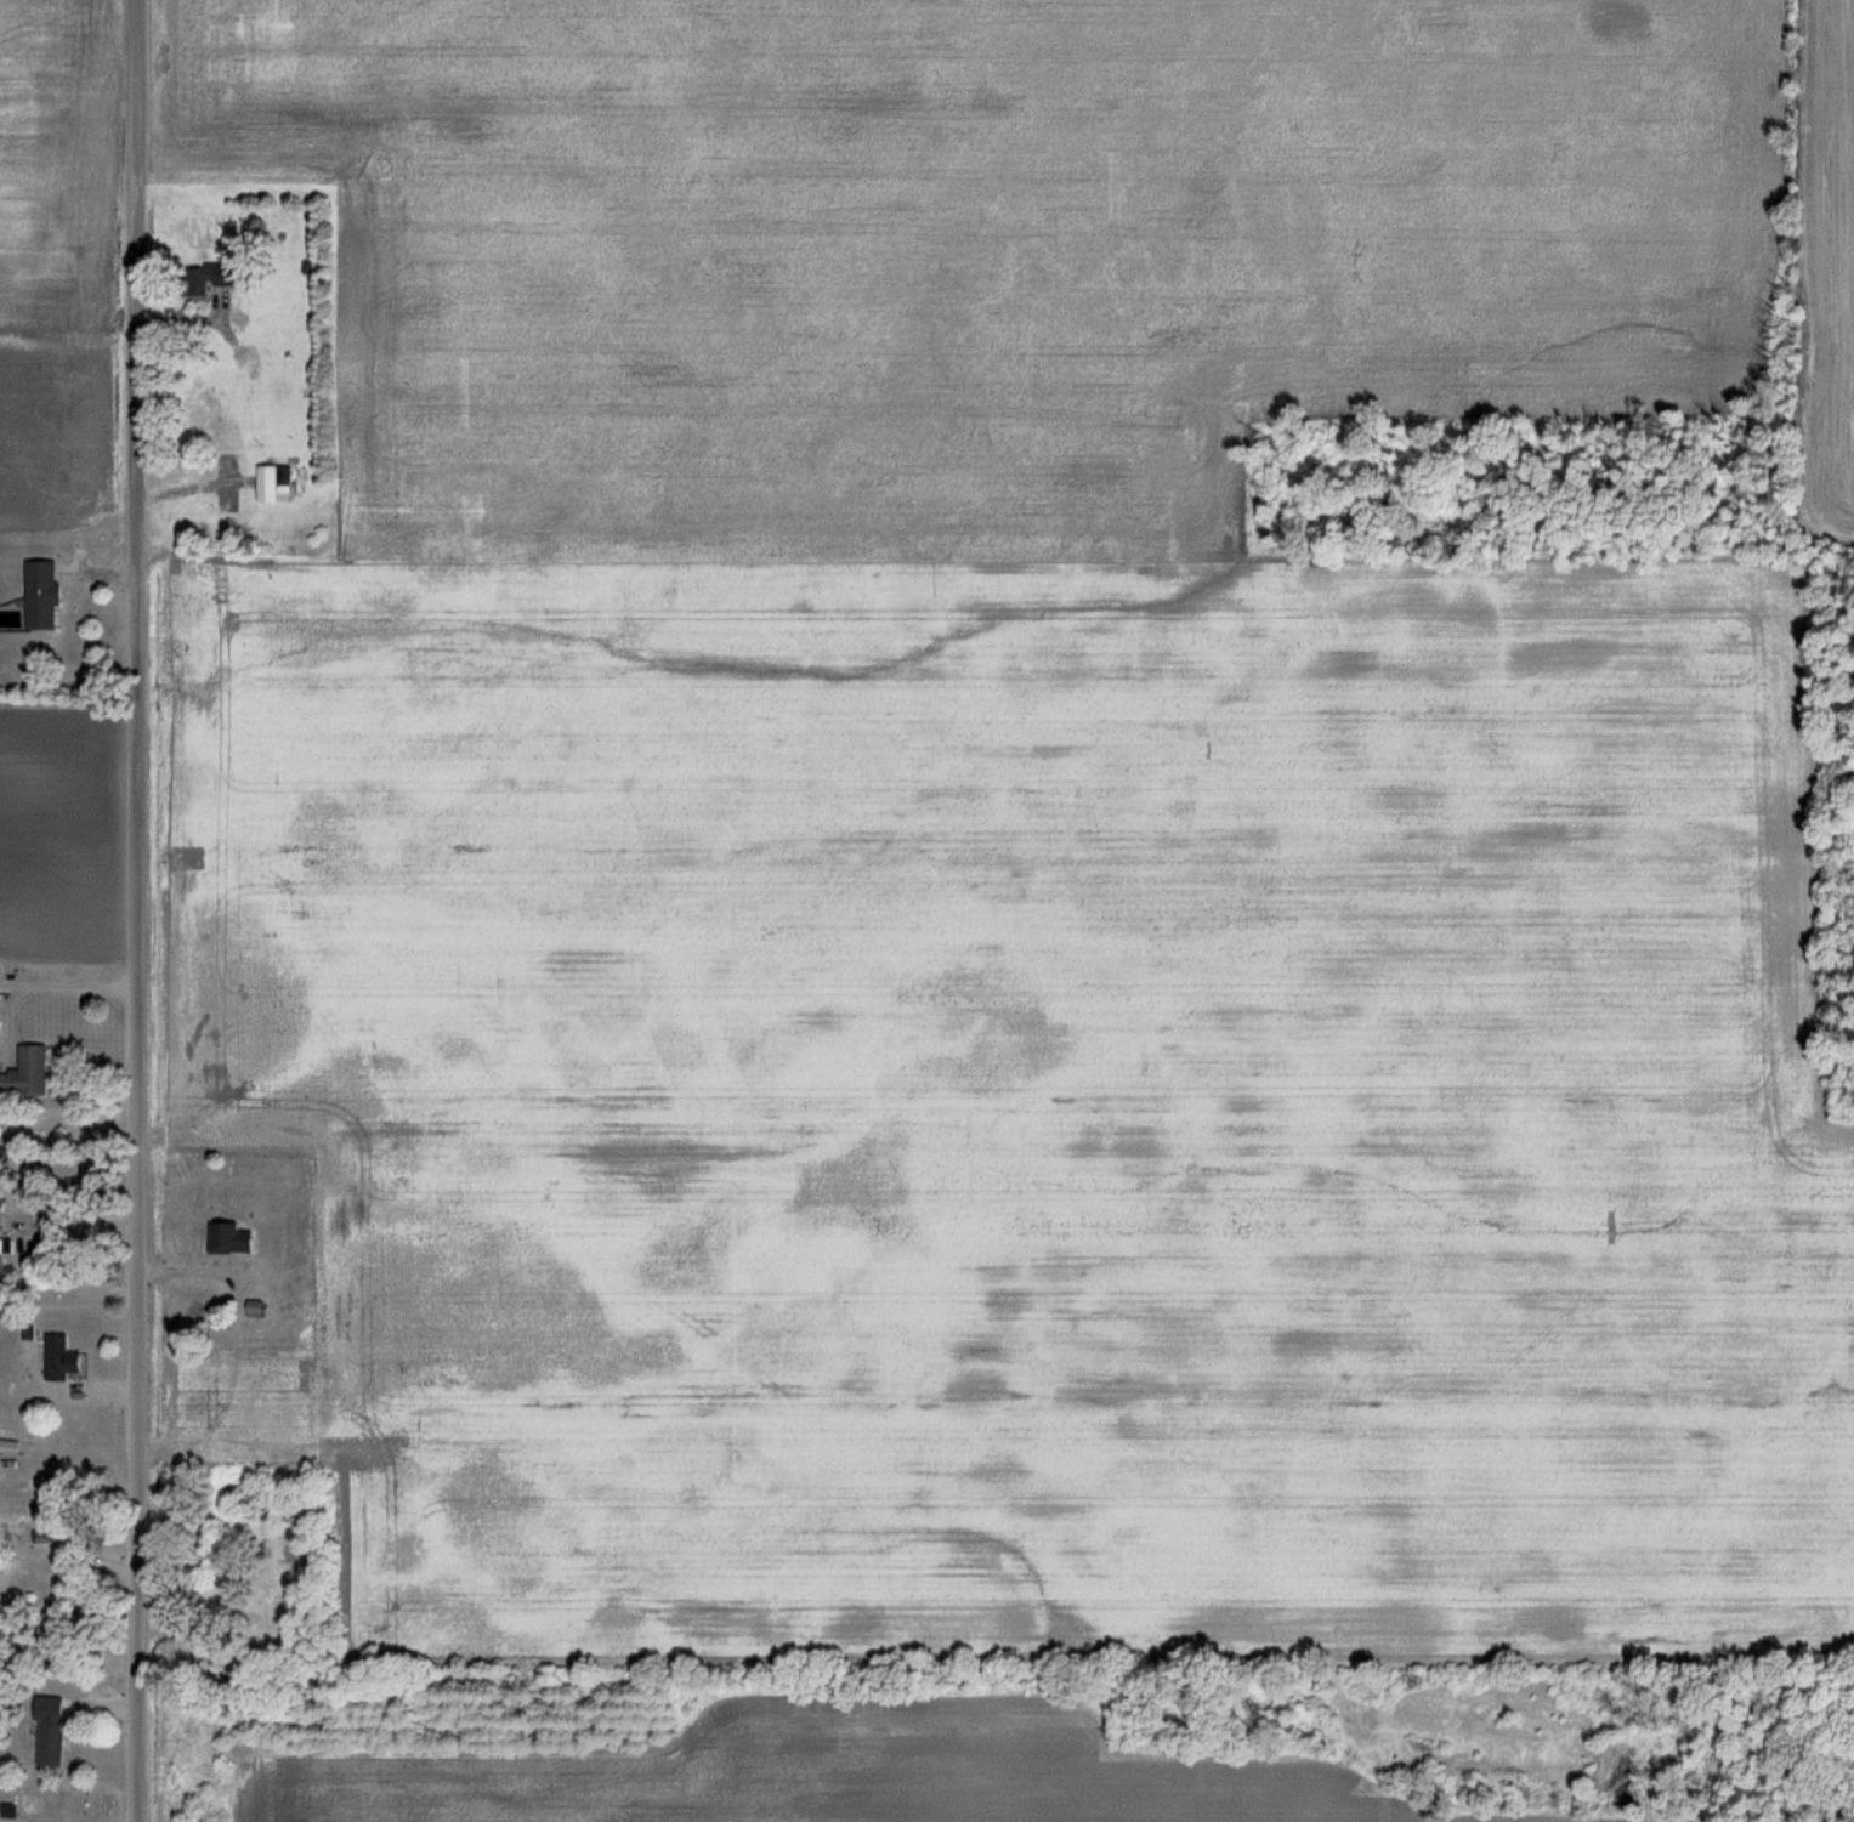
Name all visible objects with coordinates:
building: (216, 273)
building: (274, 481)
building: (45, 594)
road: (140, 910)
road: (69, 982)
building: (33, 1071)
building: (4, 1254)
building: (260, 1309)
building: (64, 1358)
building: (59, 1536)
building: (23, 1627)
building: (55, 1746)

